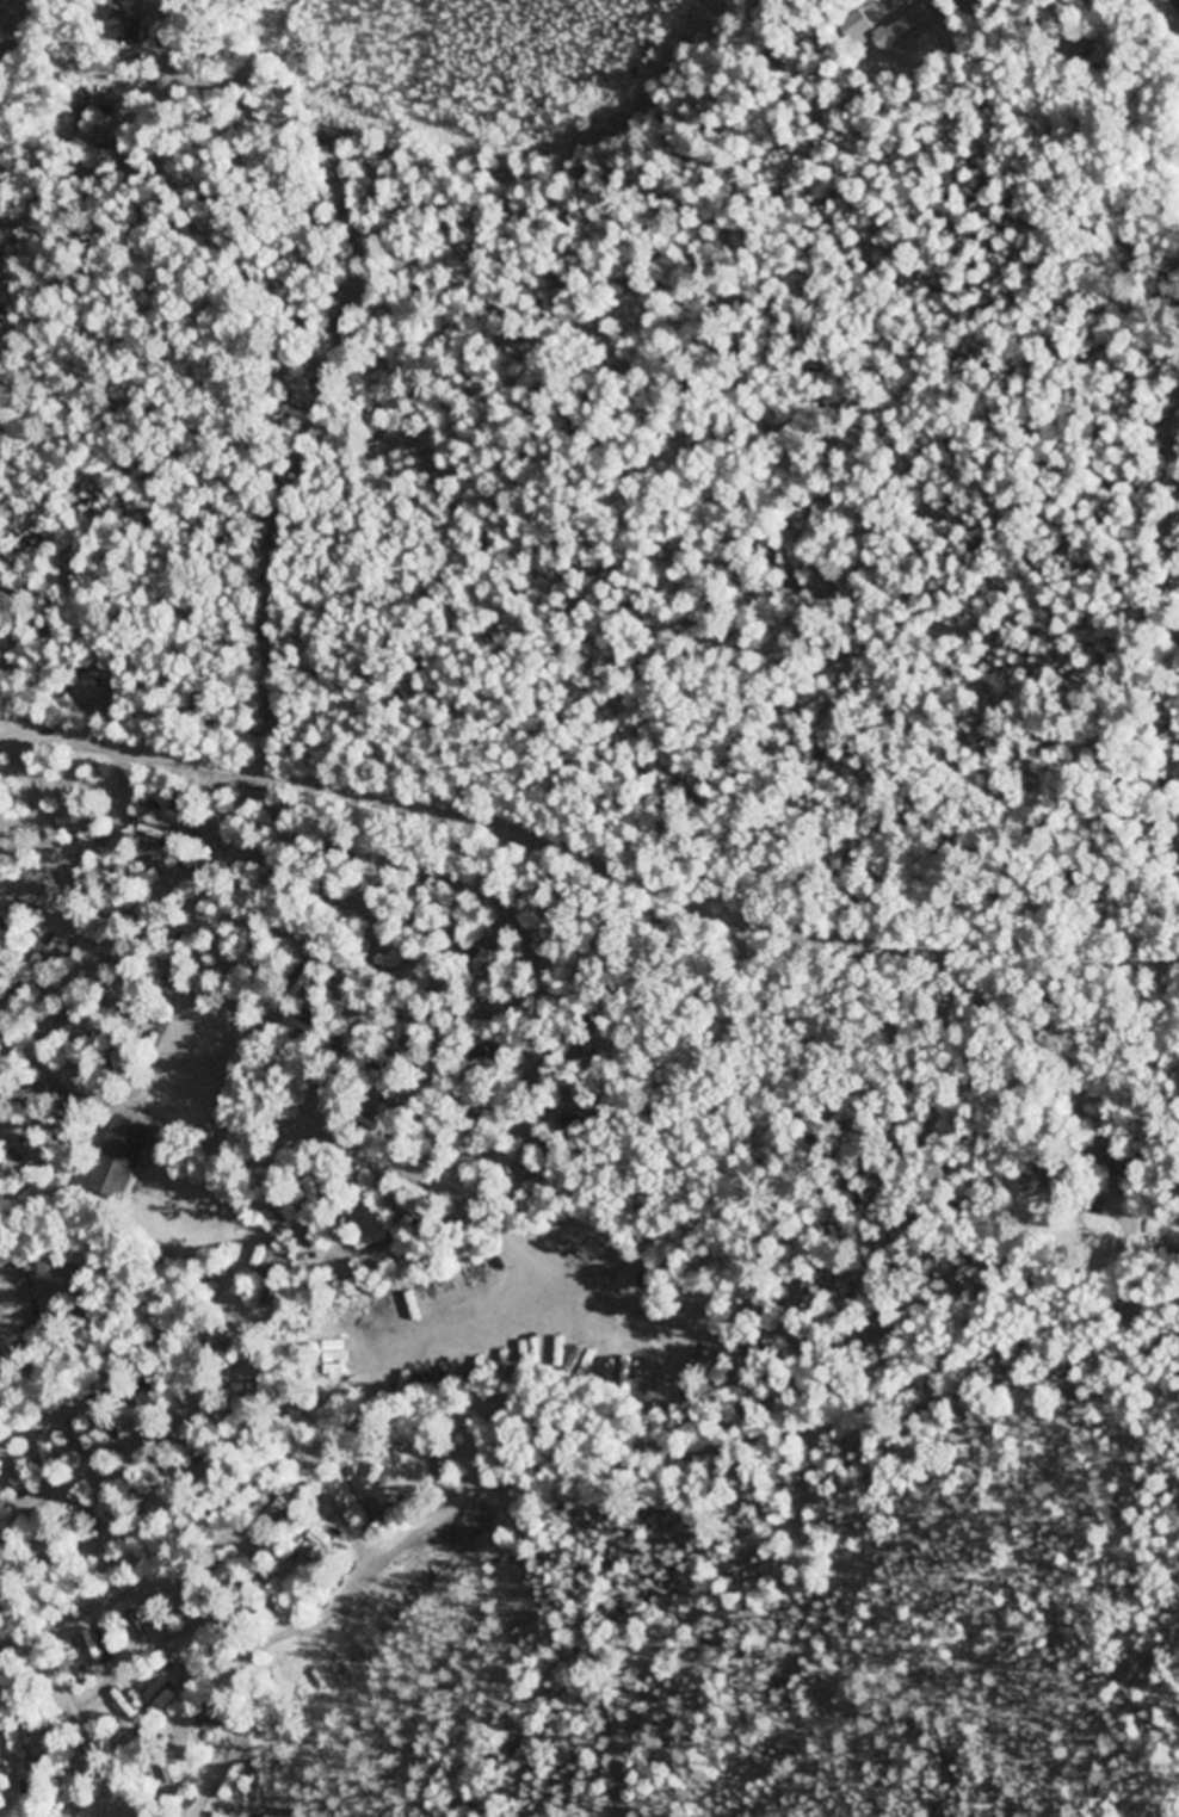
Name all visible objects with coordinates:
building: (900, 29)
building: (128, 31)
road: (588, 847)
building: (122, 1157)
building: (372, 1246)
building: (334, 1359)
road: (576, 1422)
building: (135, 1621)
building: (94, 1649)
road: (85, 1710)

